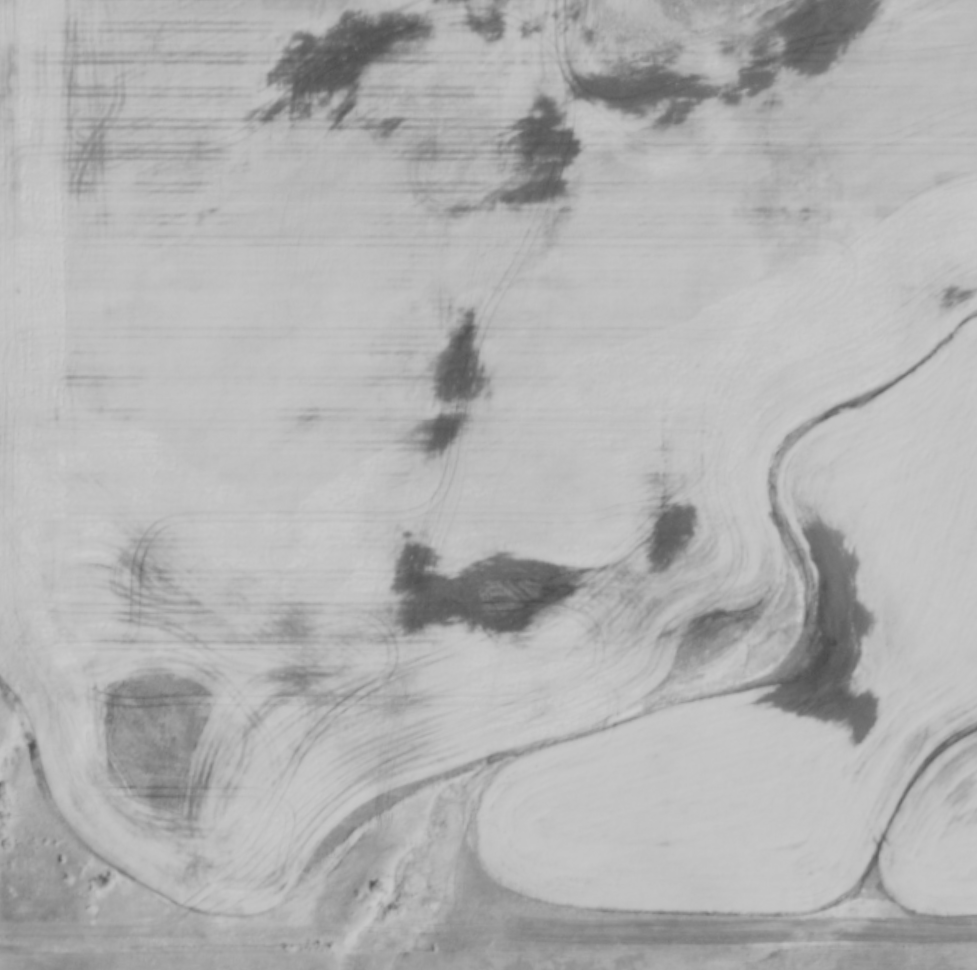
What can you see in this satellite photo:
road: (488, 930)

